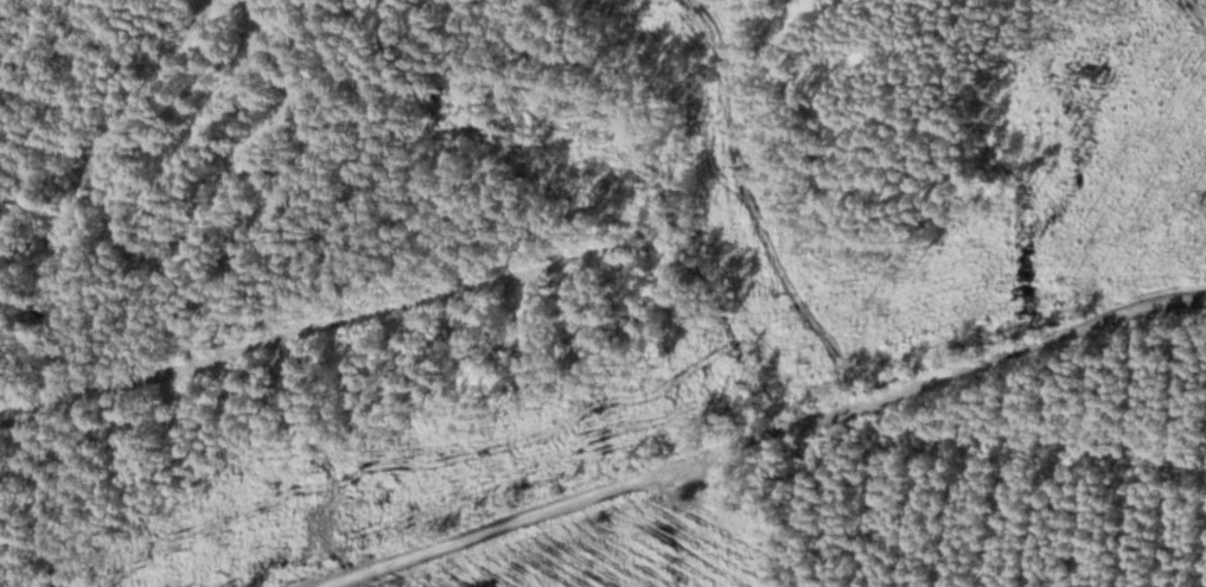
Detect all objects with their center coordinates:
road: (765, 435)

